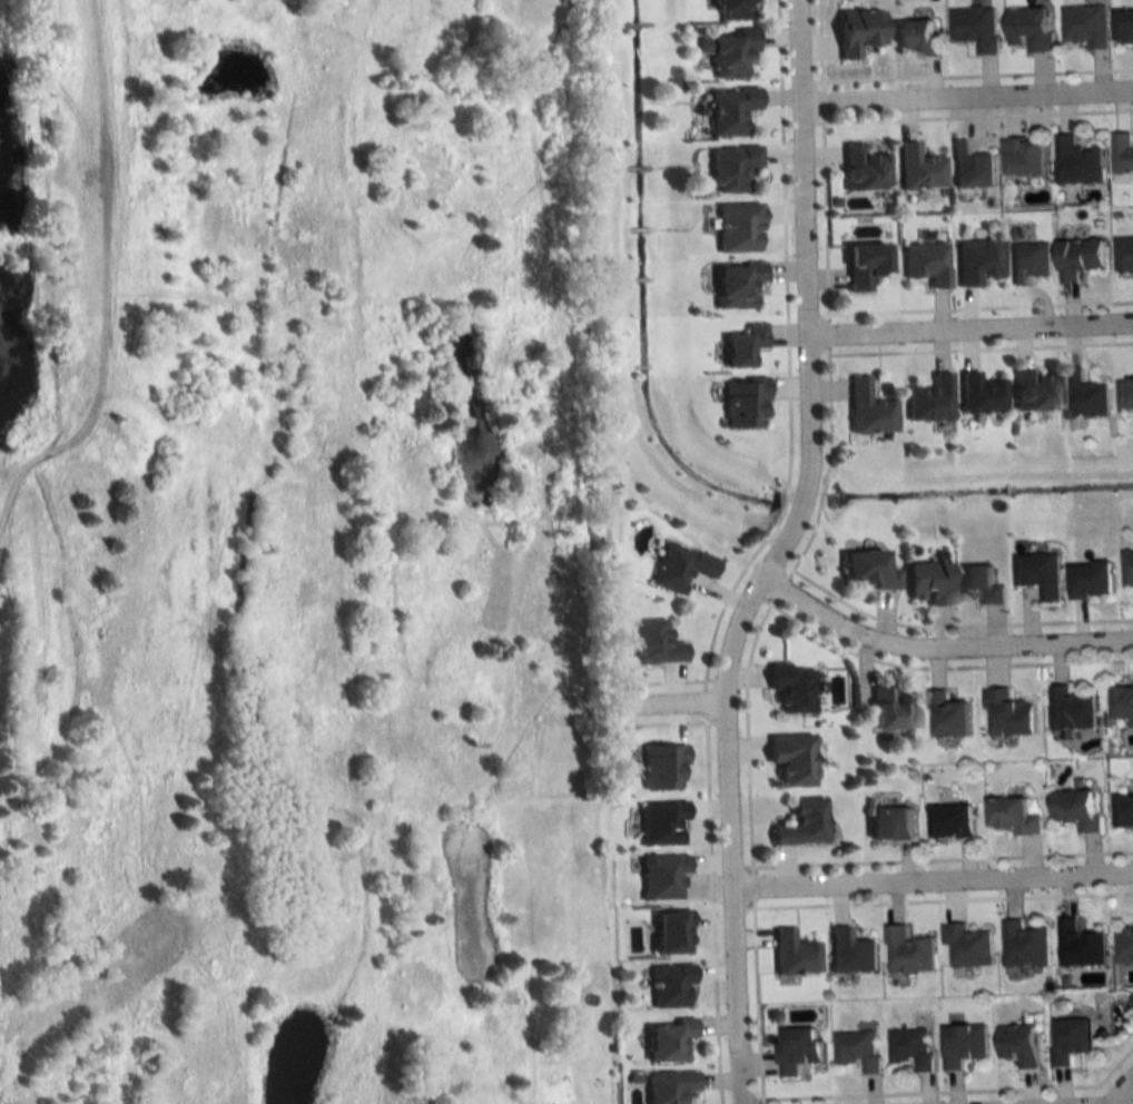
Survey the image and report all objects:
building: (730, 10)
building: (1086, 26)
building: (976, 27)
building: (1032, 28)
building: (1124, 28)
building: (855, 31)
building: (917, 37)
building: (725, 51)
road: (966, 98)
building: (727, 110)
building: (1122, 151)
building: (1026, 156)
building: (1078, 160)
building: (971, 166)
building: (728, 168)
building: (860, 168)
building: (916, 168)
building: (735, 227)
building: (1124, 253)
building: (1081, 258)
building: (975, 260)
building: (1028, 262)
building: (924, 264)
building: (860, 265)
building: (733, 285)
road: (969, 331)
building: (740, 346)
building: (1032, 391)
building: (1126, 394)
building: (978, 395)
building: (1085, 396)
building: (928, 401)
building: (741, 403)
building: (867, 410)
road: (771, 552)
building: (678, 566)
building: (1127, 566)
building: (867, 570)
building: (1040, 573)
building: (1091, 580)
building: (927, 582)
building: (981, 583)
building: (652, 643)
road: (935, 650)
building: (791, 688)
road: (666, 702)
building: (1123, 703)
building: (1070, 709)
building: (889, 712)
building: (1008, 713)
building: (947, 716)
building: (792, 759)
building: (660, 768)
building: (1076, 810)
building: (1123, 814)
building: (1011, 817)
building: (950, 821)
building: (660, 824)
building: (802, 824)
building: (889, 824)
road: (932, 875)
building: (661, 877)
building: (669, 933)
building: (1024, 945)
building: (1080, 945)
building: (1124, 945)
building: (966, 946)
building: (906, 952)
building: (850, 953)
building: (794, 955)
building: (670, 985)
building: (667, 1039)
building: (1070, 1039)
building: (963, 1045)
building: (1018, 1045)
building: (910, 1048)
building: (796, 1051)
building: (857, 1051)
building: (669, 1086)
road: (1121, 1090)

